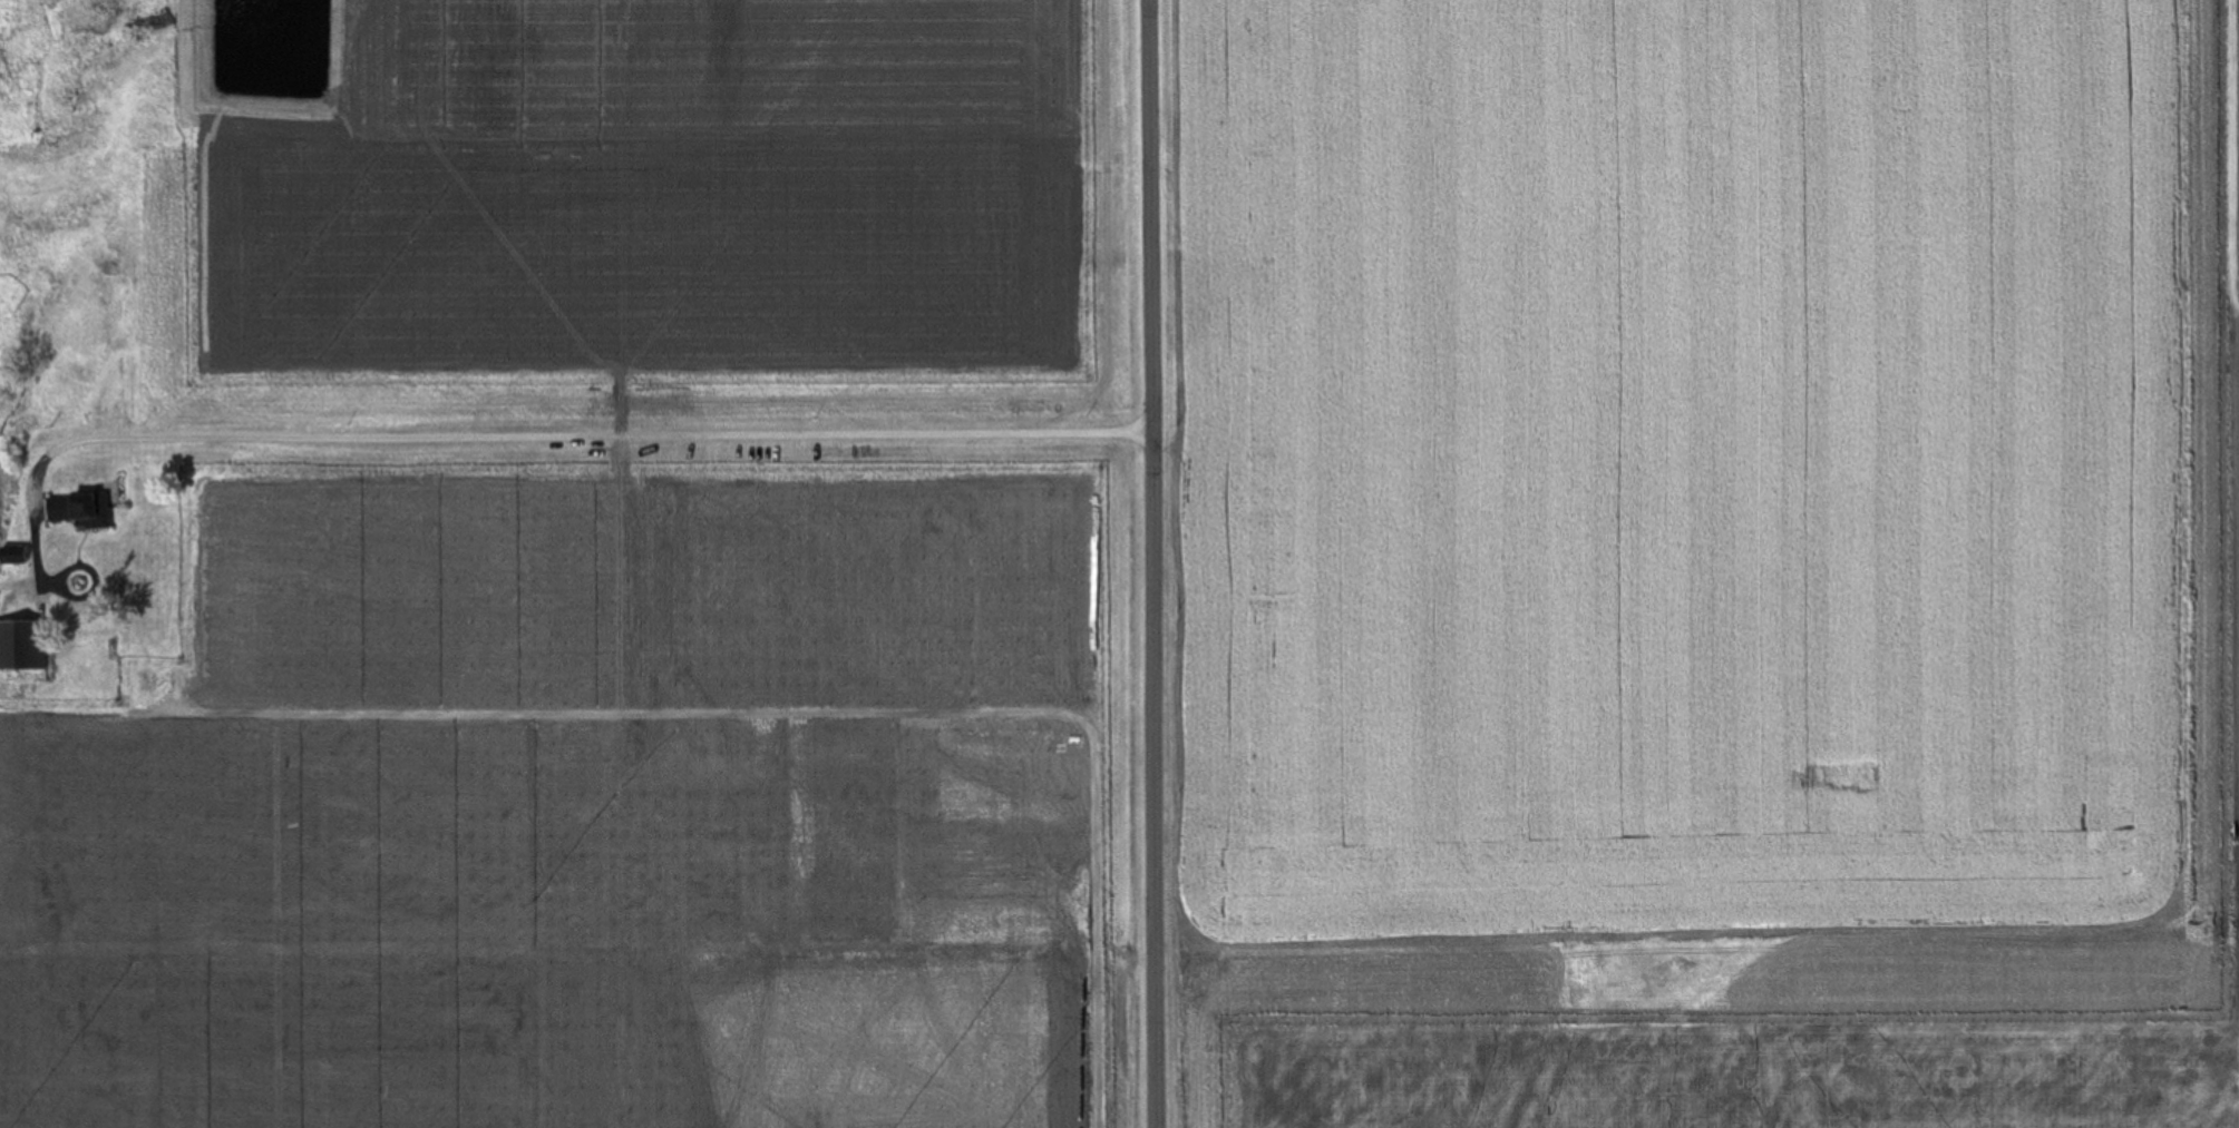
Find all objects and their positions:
road: (465, 437)
building: (81, 510)
building: (14, 556)
road: (1157, 563)
building: (22, 646)

